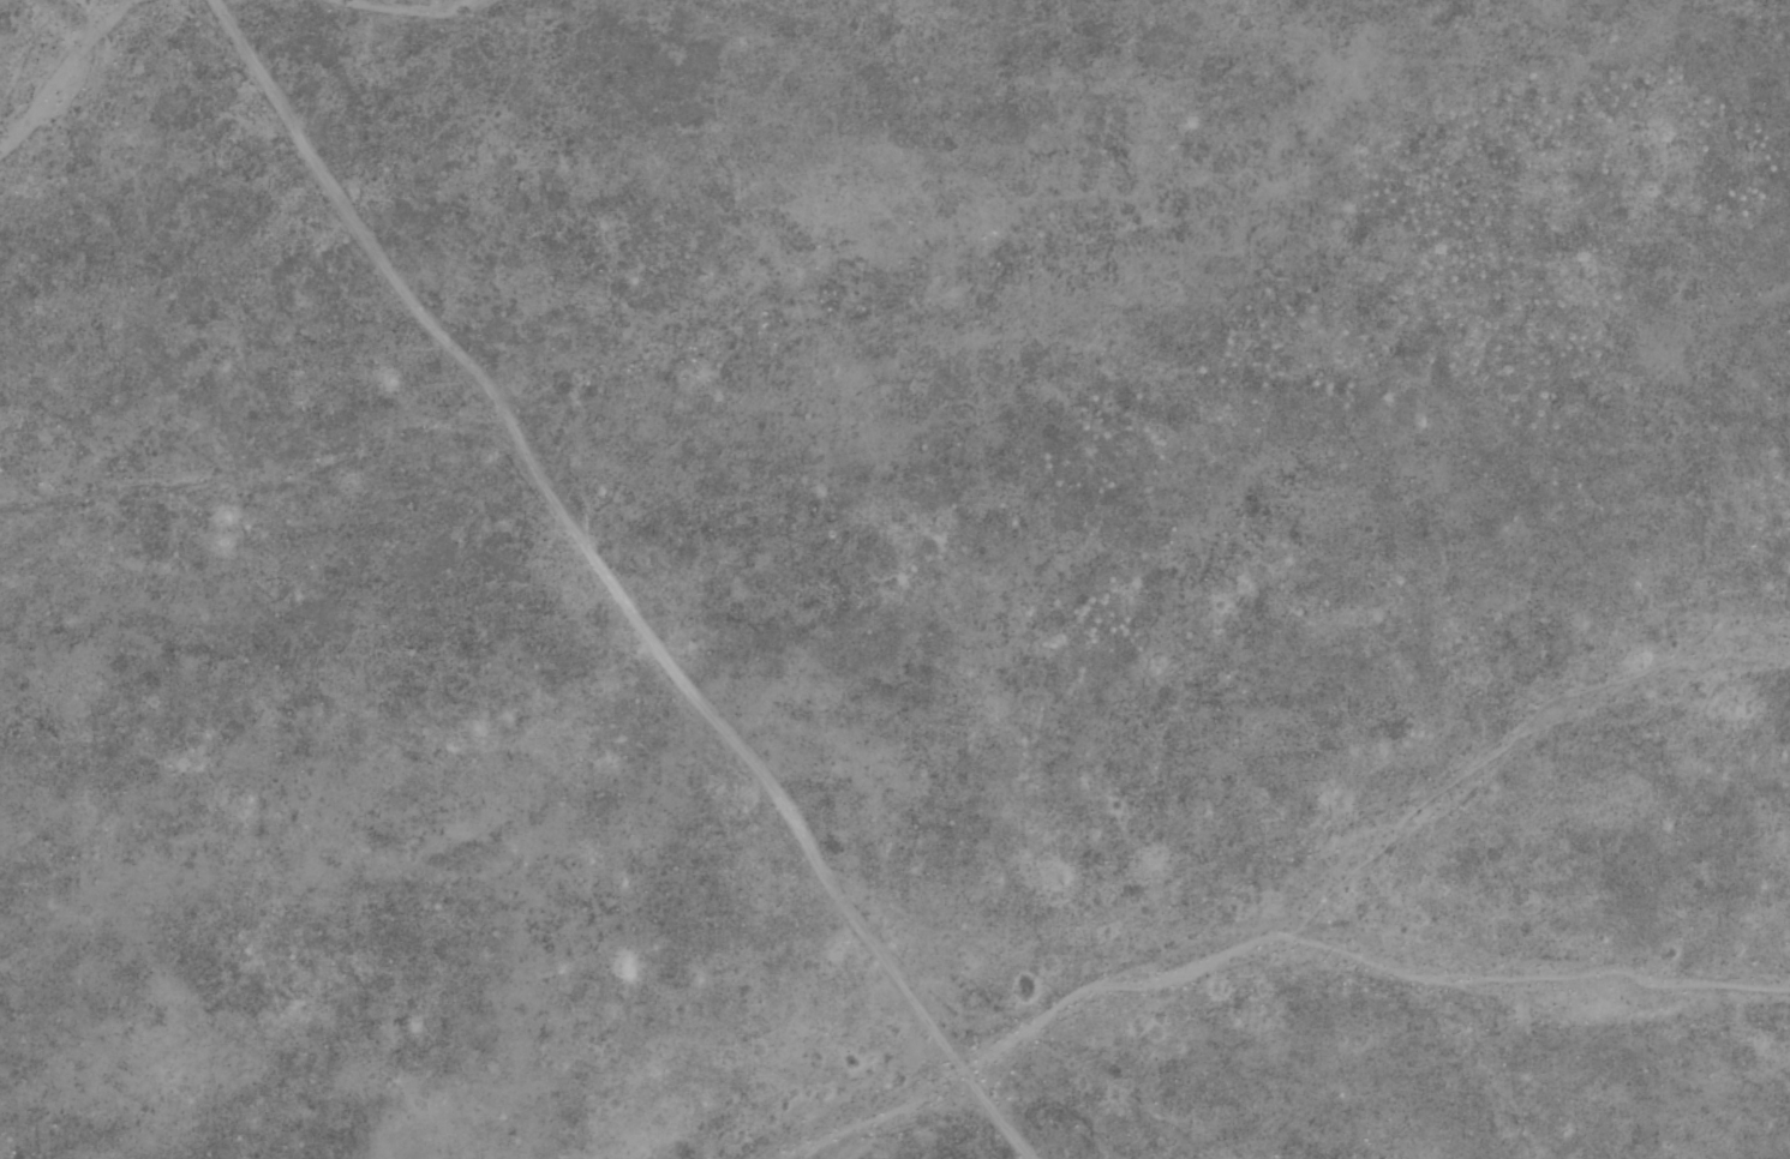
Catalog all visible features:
road: (674, 630)

